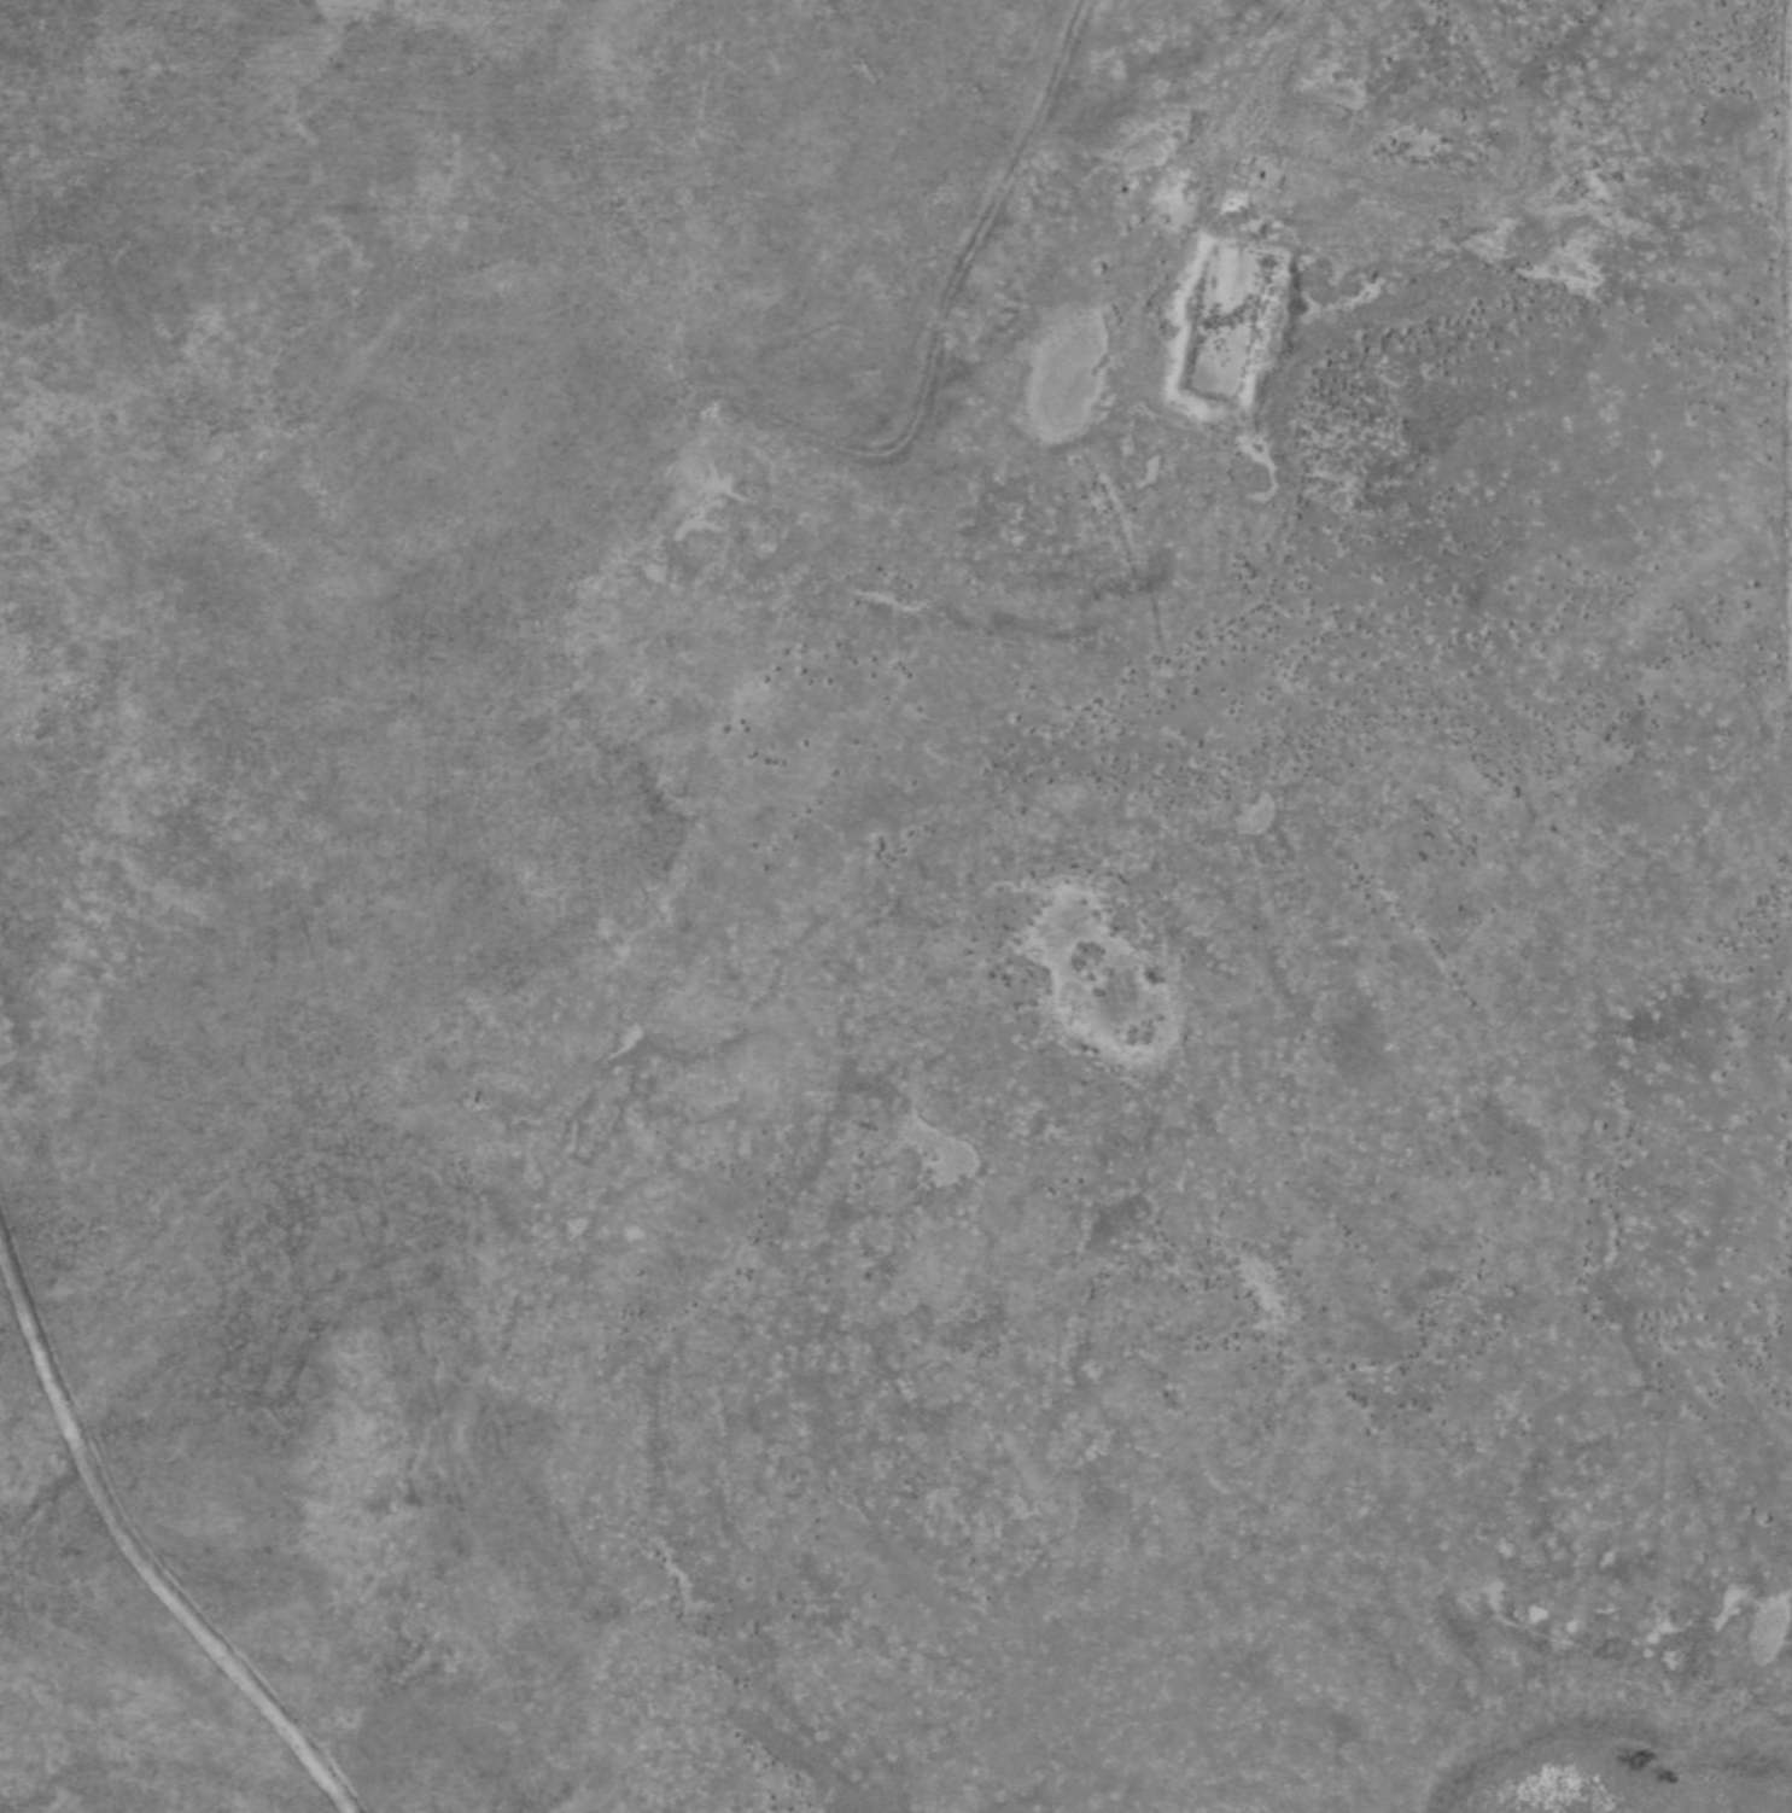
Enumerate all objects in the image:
road: (1511, 16)
road: (1502, 310)
wastewater plant: (1272, 503)

